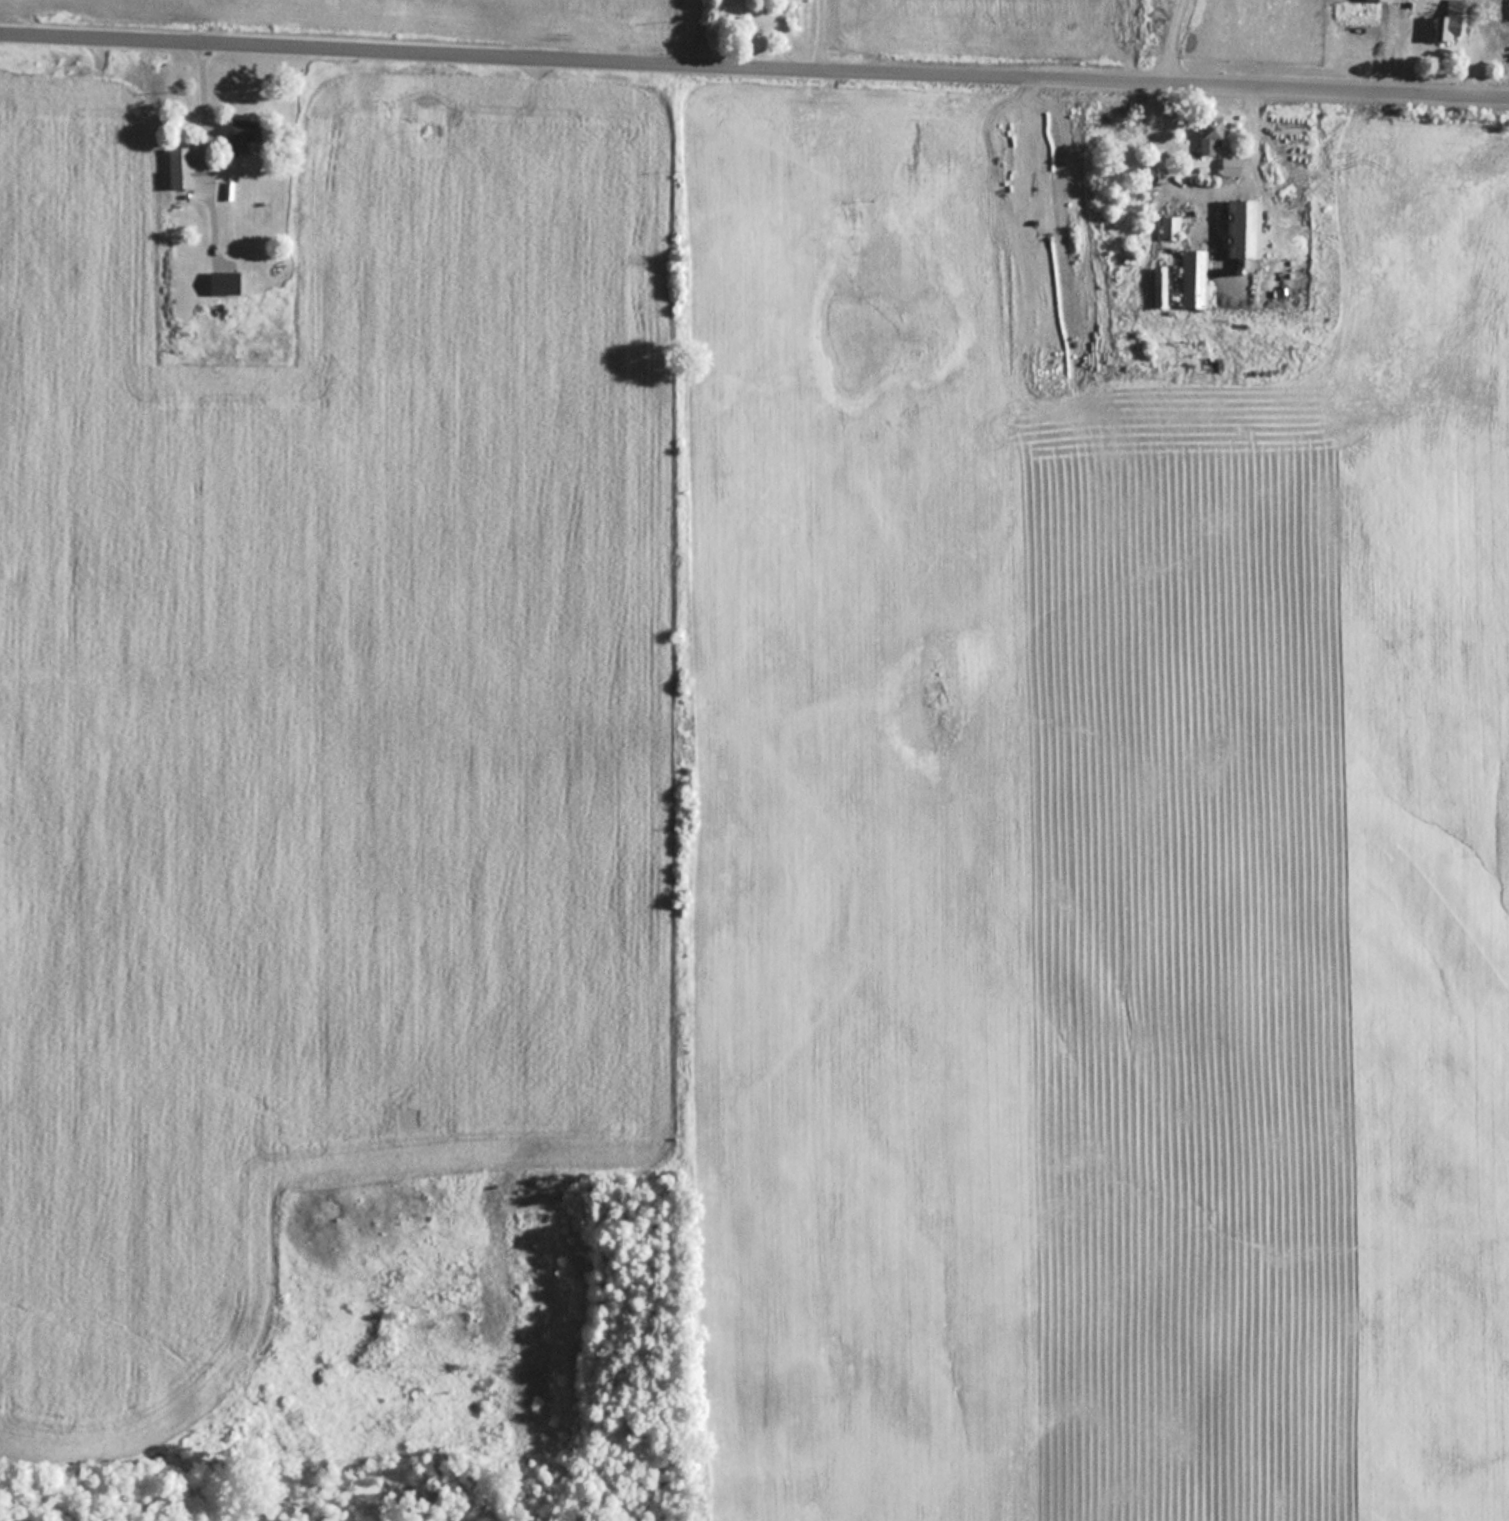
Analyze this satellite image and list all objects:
building: (1389, 0)
building: (1446, 29)
road: (754, 68)
building: (244, 132)
building: (1212, 133)
building: (1231, 165)
building: (181, 166)
building: (1171, 226)
building: (1243, 228)
building: (1196, 277)
building: (227, 280)
building: (1161, 286)

